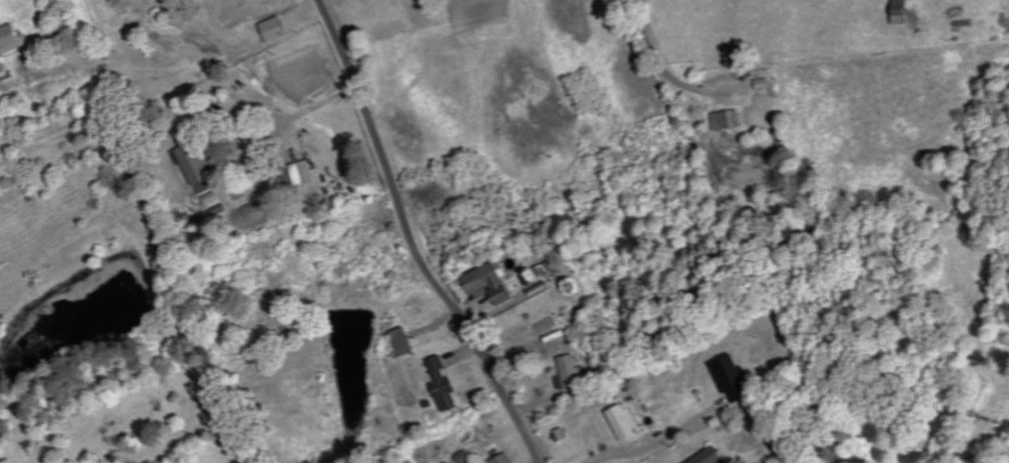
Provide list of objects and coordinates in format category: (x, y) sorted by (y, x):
building: (904, 12)
building: (276, 29)
building: (10, 39)
road: (658, 55)
building: (729, 120)
building: (197, 163)
building: (302, 175)
building: (208, 186)
road: (413, 239)
building: (494, 282)
building: (439, 334)
building: (406, 342)
building: (572, 373)
building: (735, 378)
building: (445, 385)
building: (628, 423)
building: (466, 457)
building: (711, 457)
building: (504, 459)

